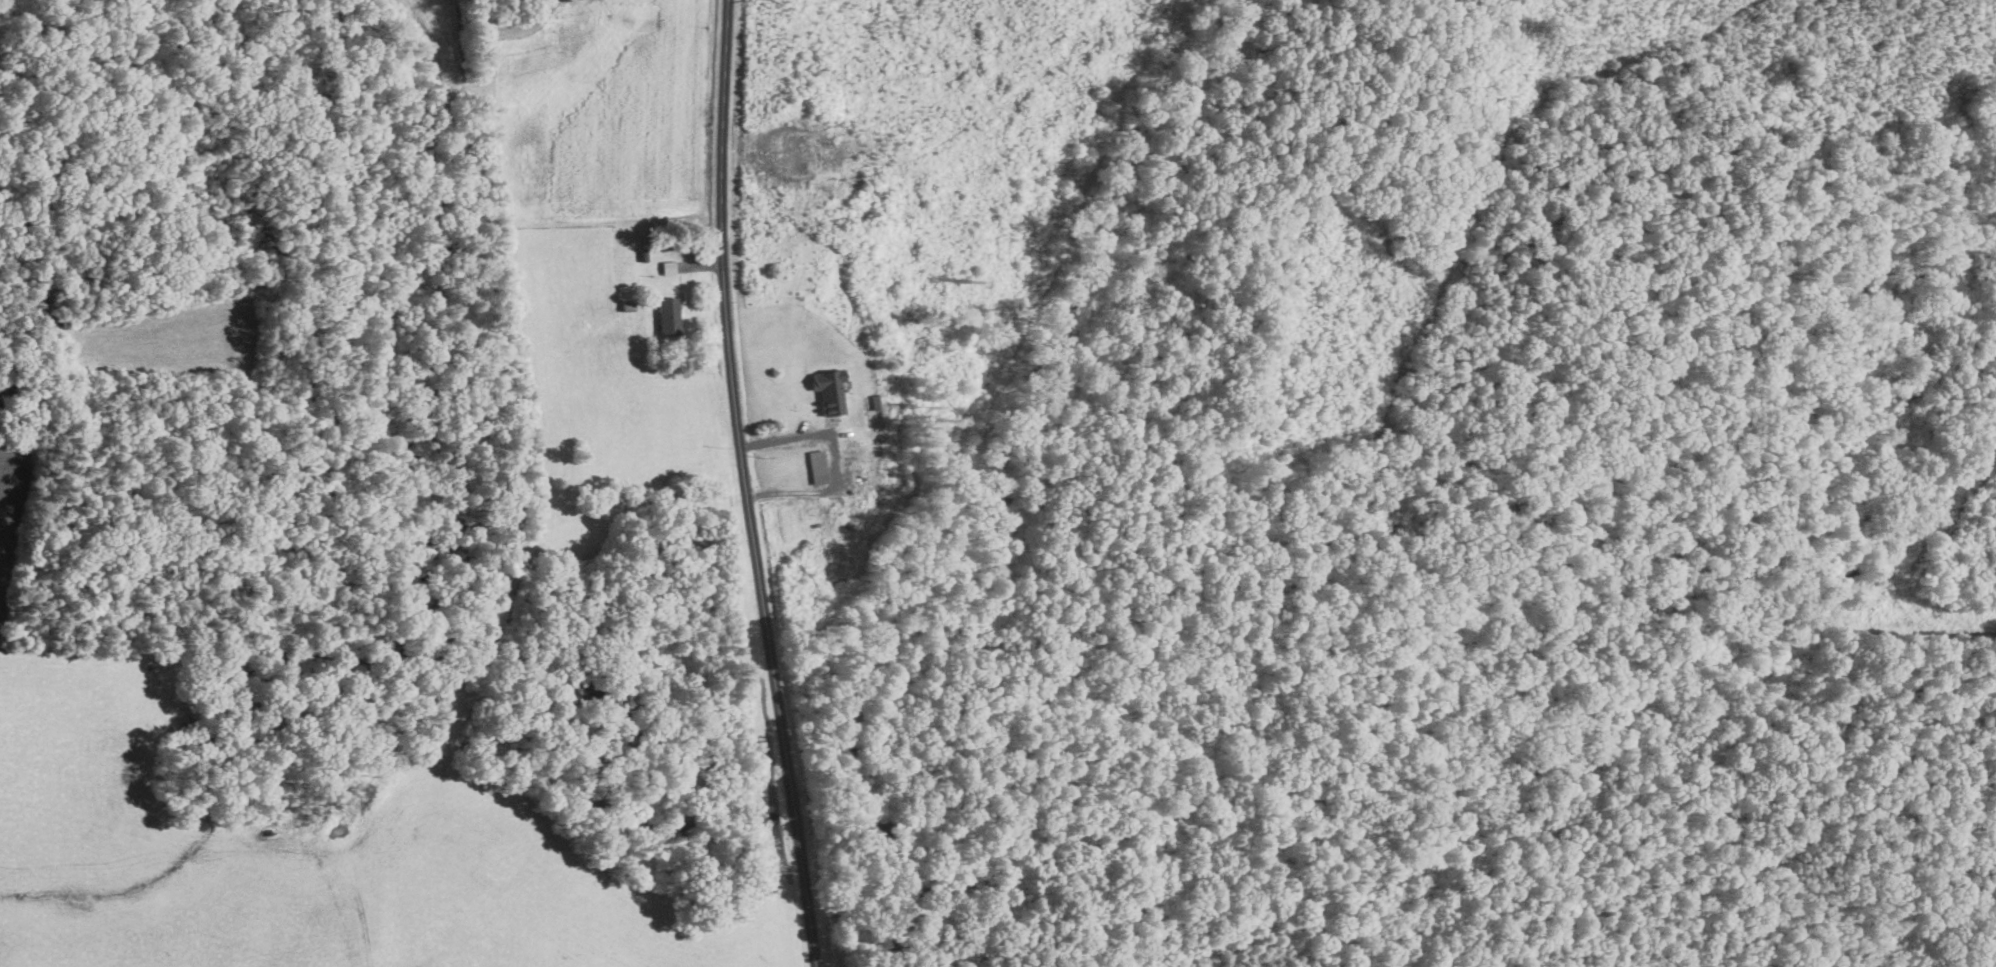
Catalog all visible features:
building: (669, 316)
building: (831, 391)
road: (838, 459)
building: (818, 467)
road: (748, 485)

